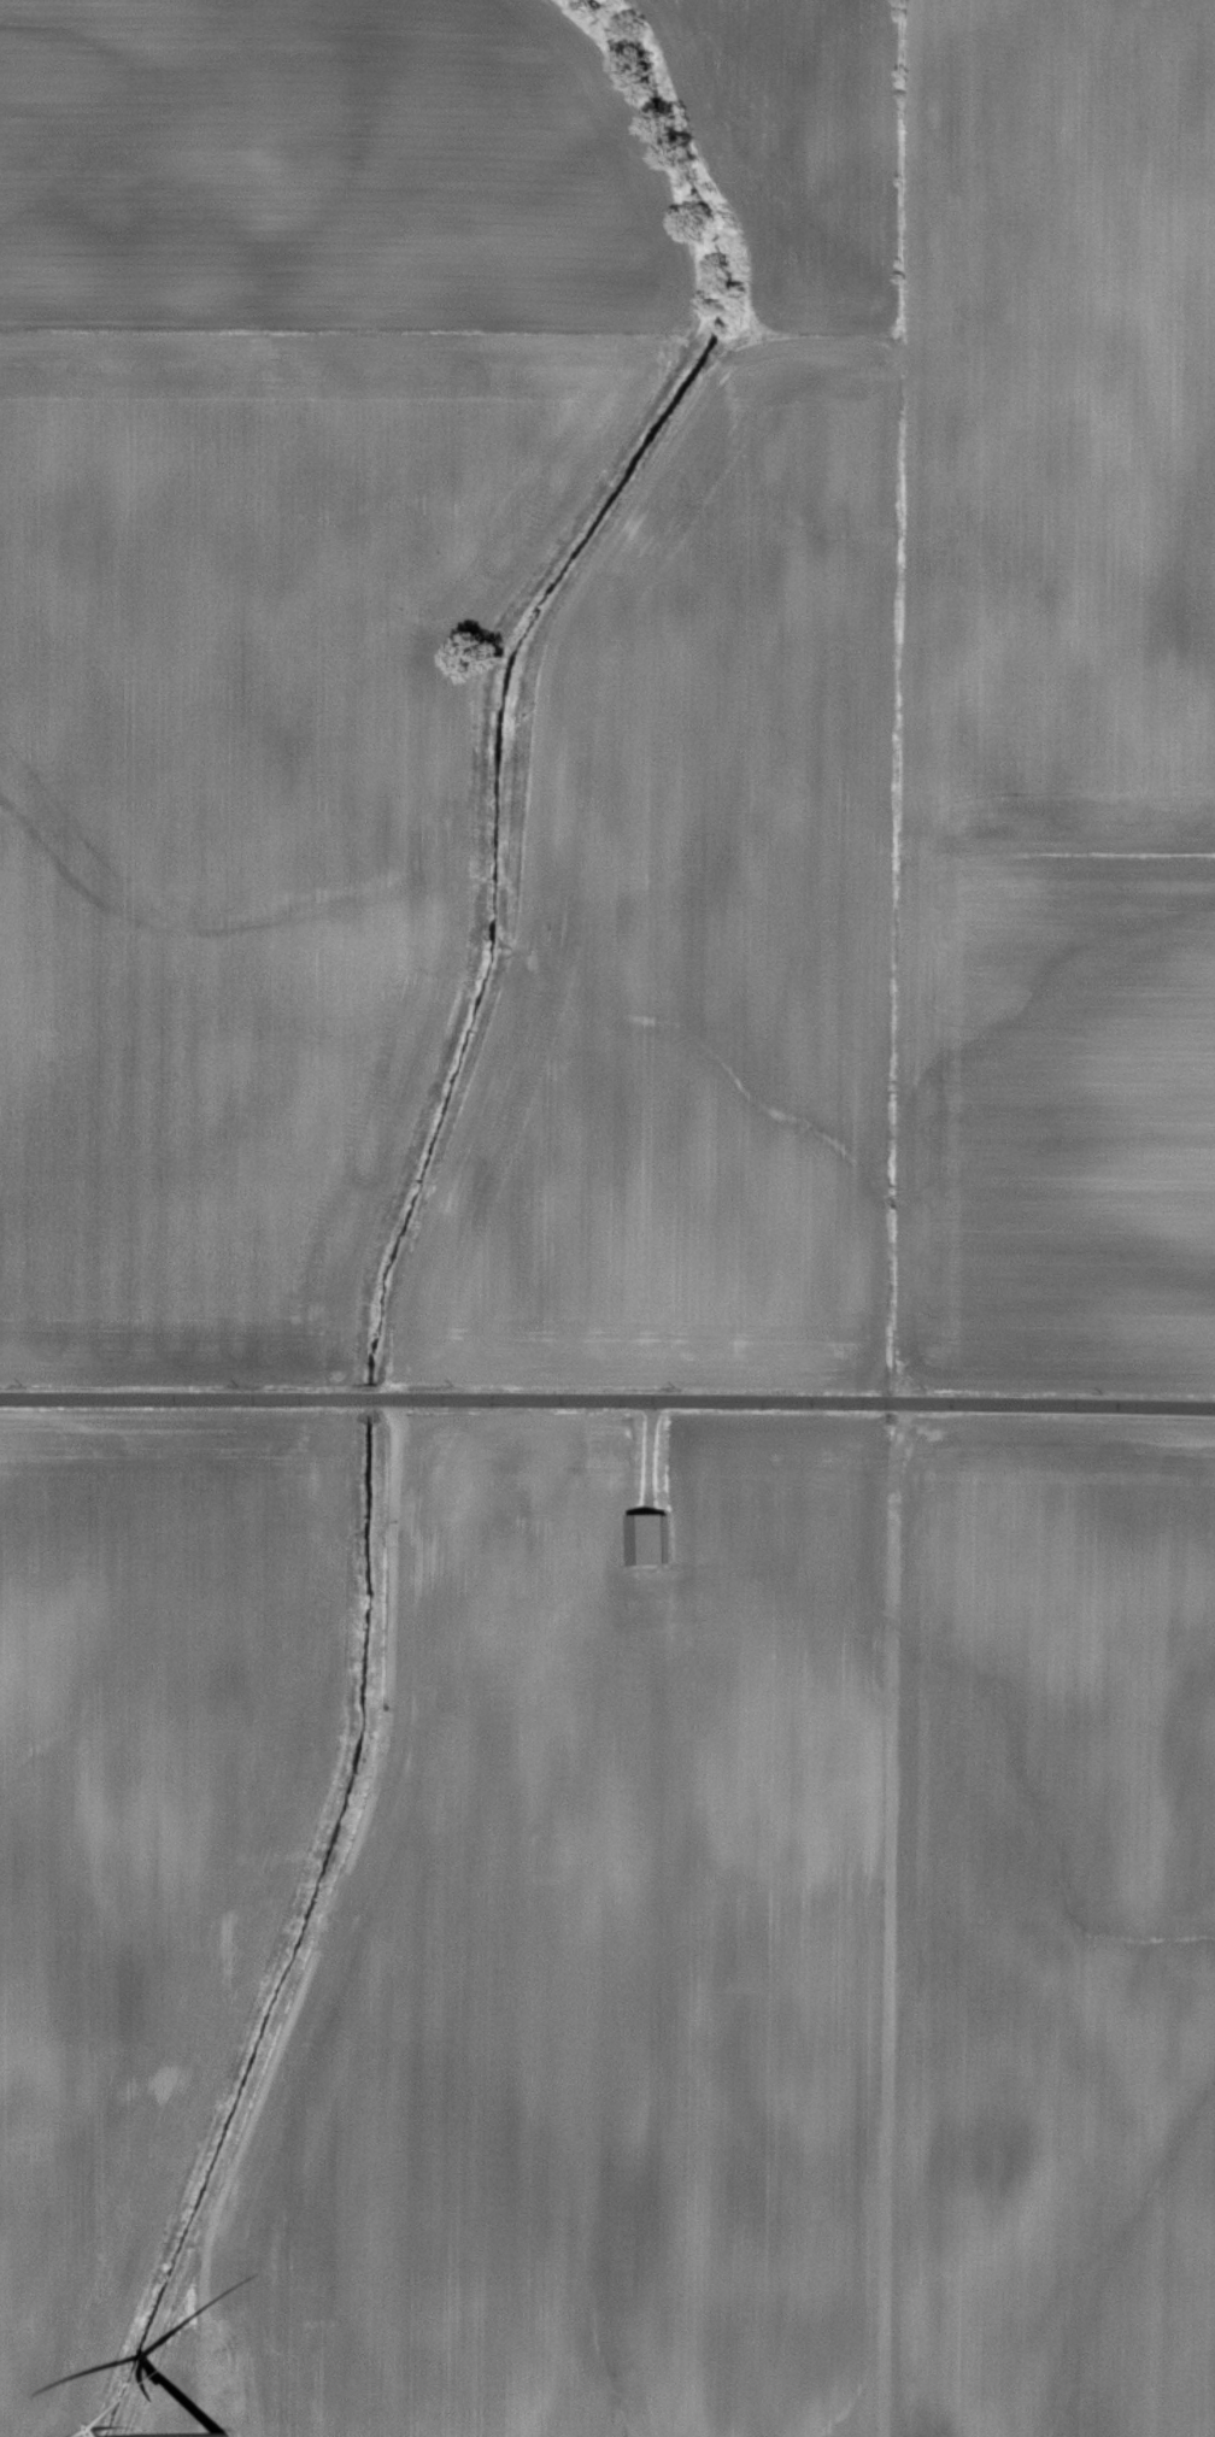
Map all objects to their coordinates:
road: (607, 1402)
wind turbine: (222, 2433)

